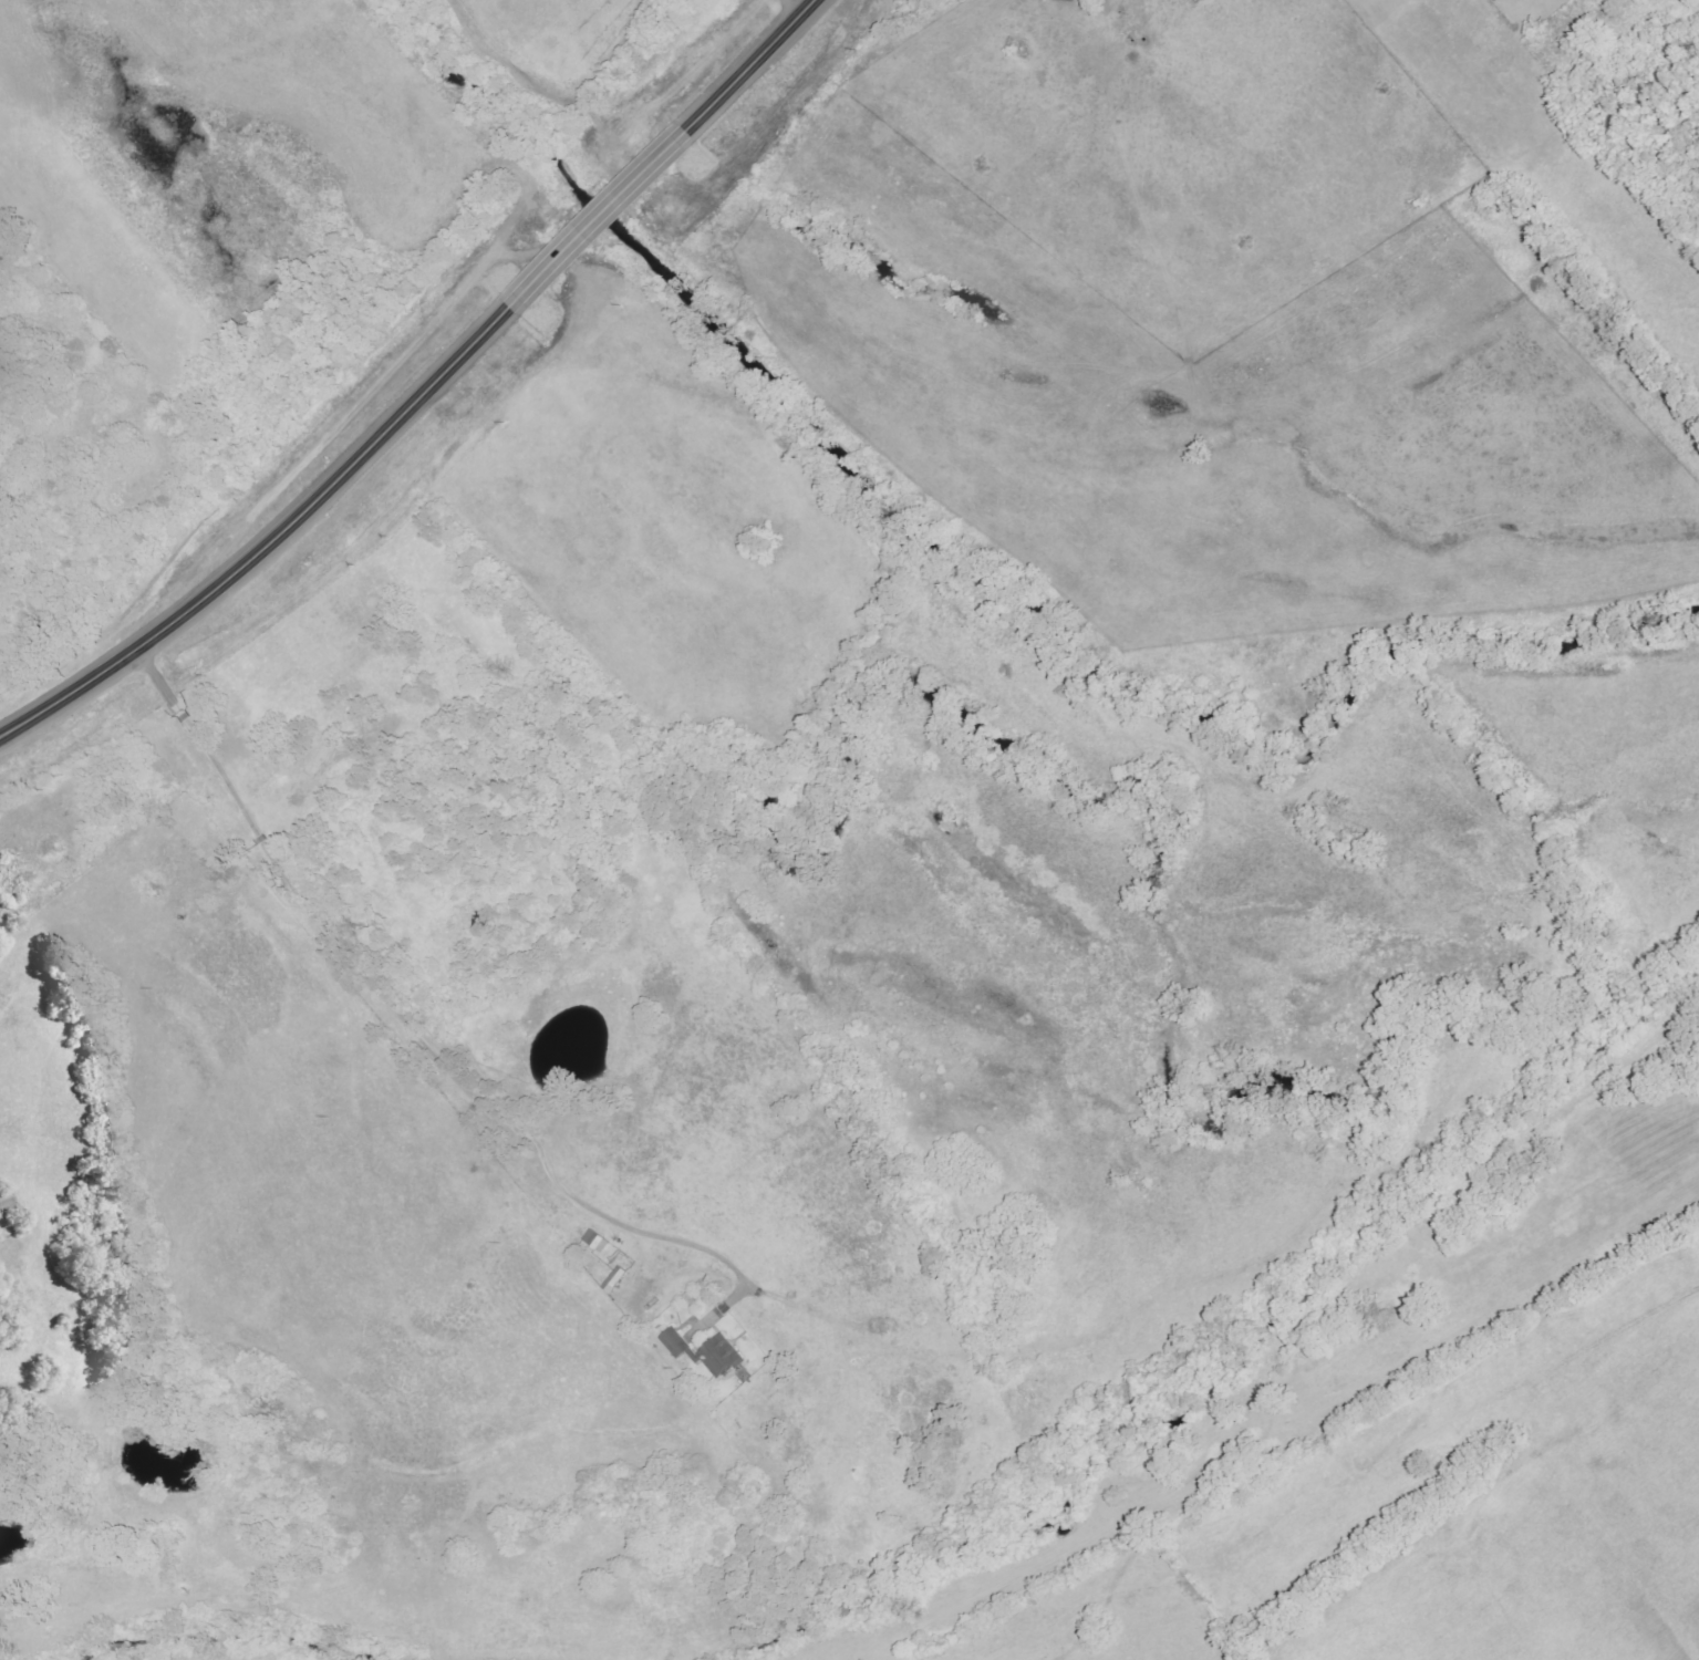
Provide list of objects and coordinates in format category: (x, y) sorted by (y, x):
road: (393, 381)
road: (363, 965)
building: (599, 1241)
building: (678, 1343)
building: (725, 1358)

